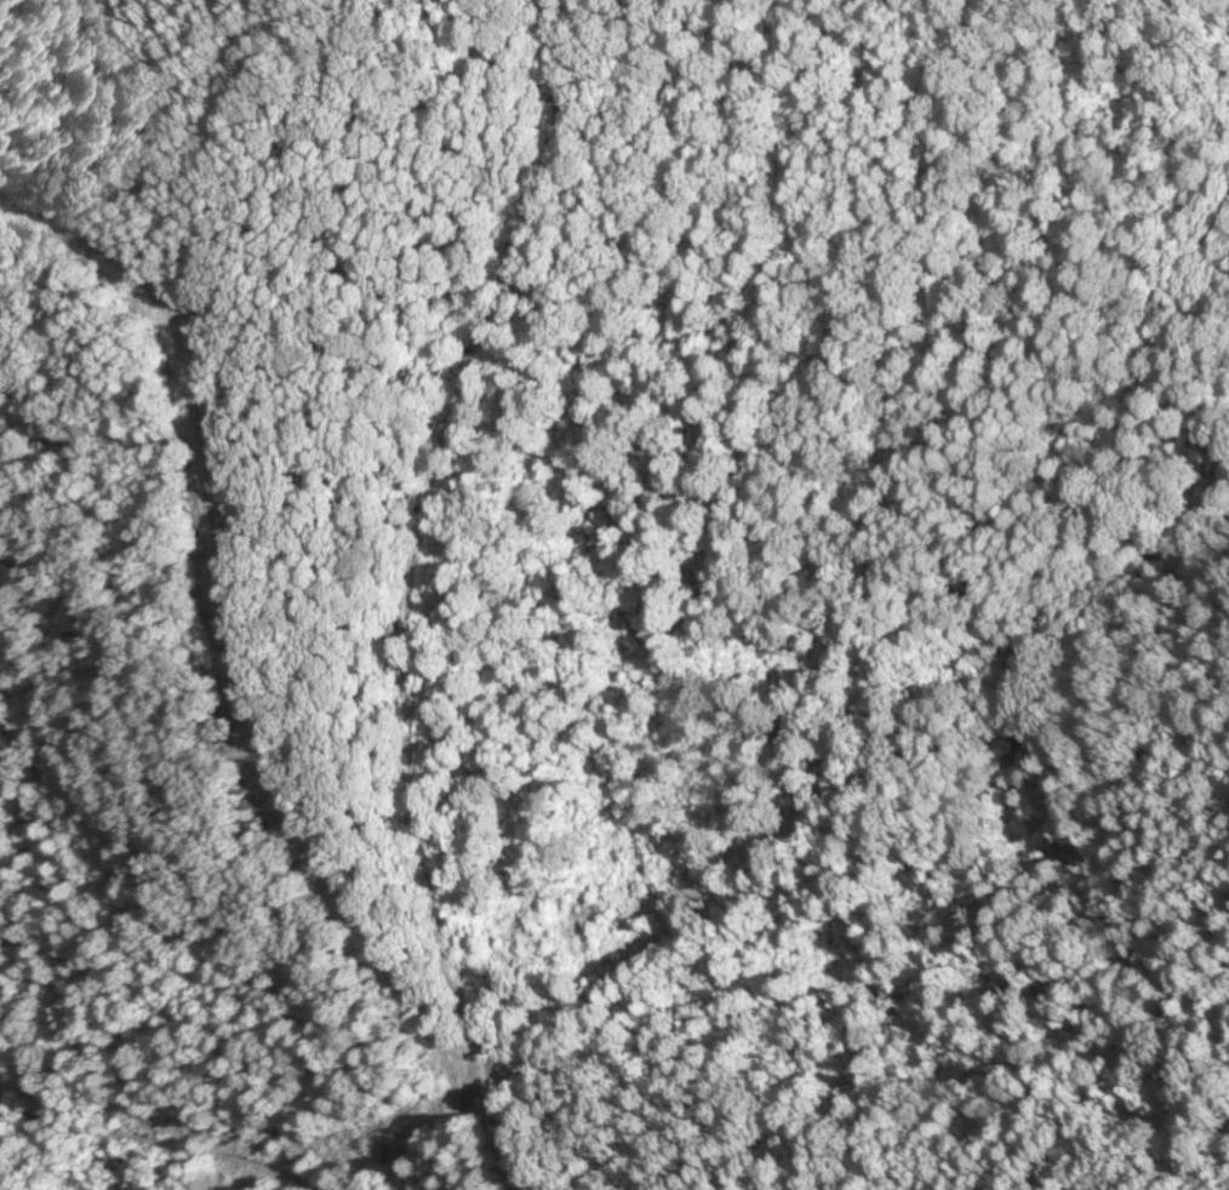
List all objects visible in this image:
road: (490, 1059)
road: (162, 1142)

